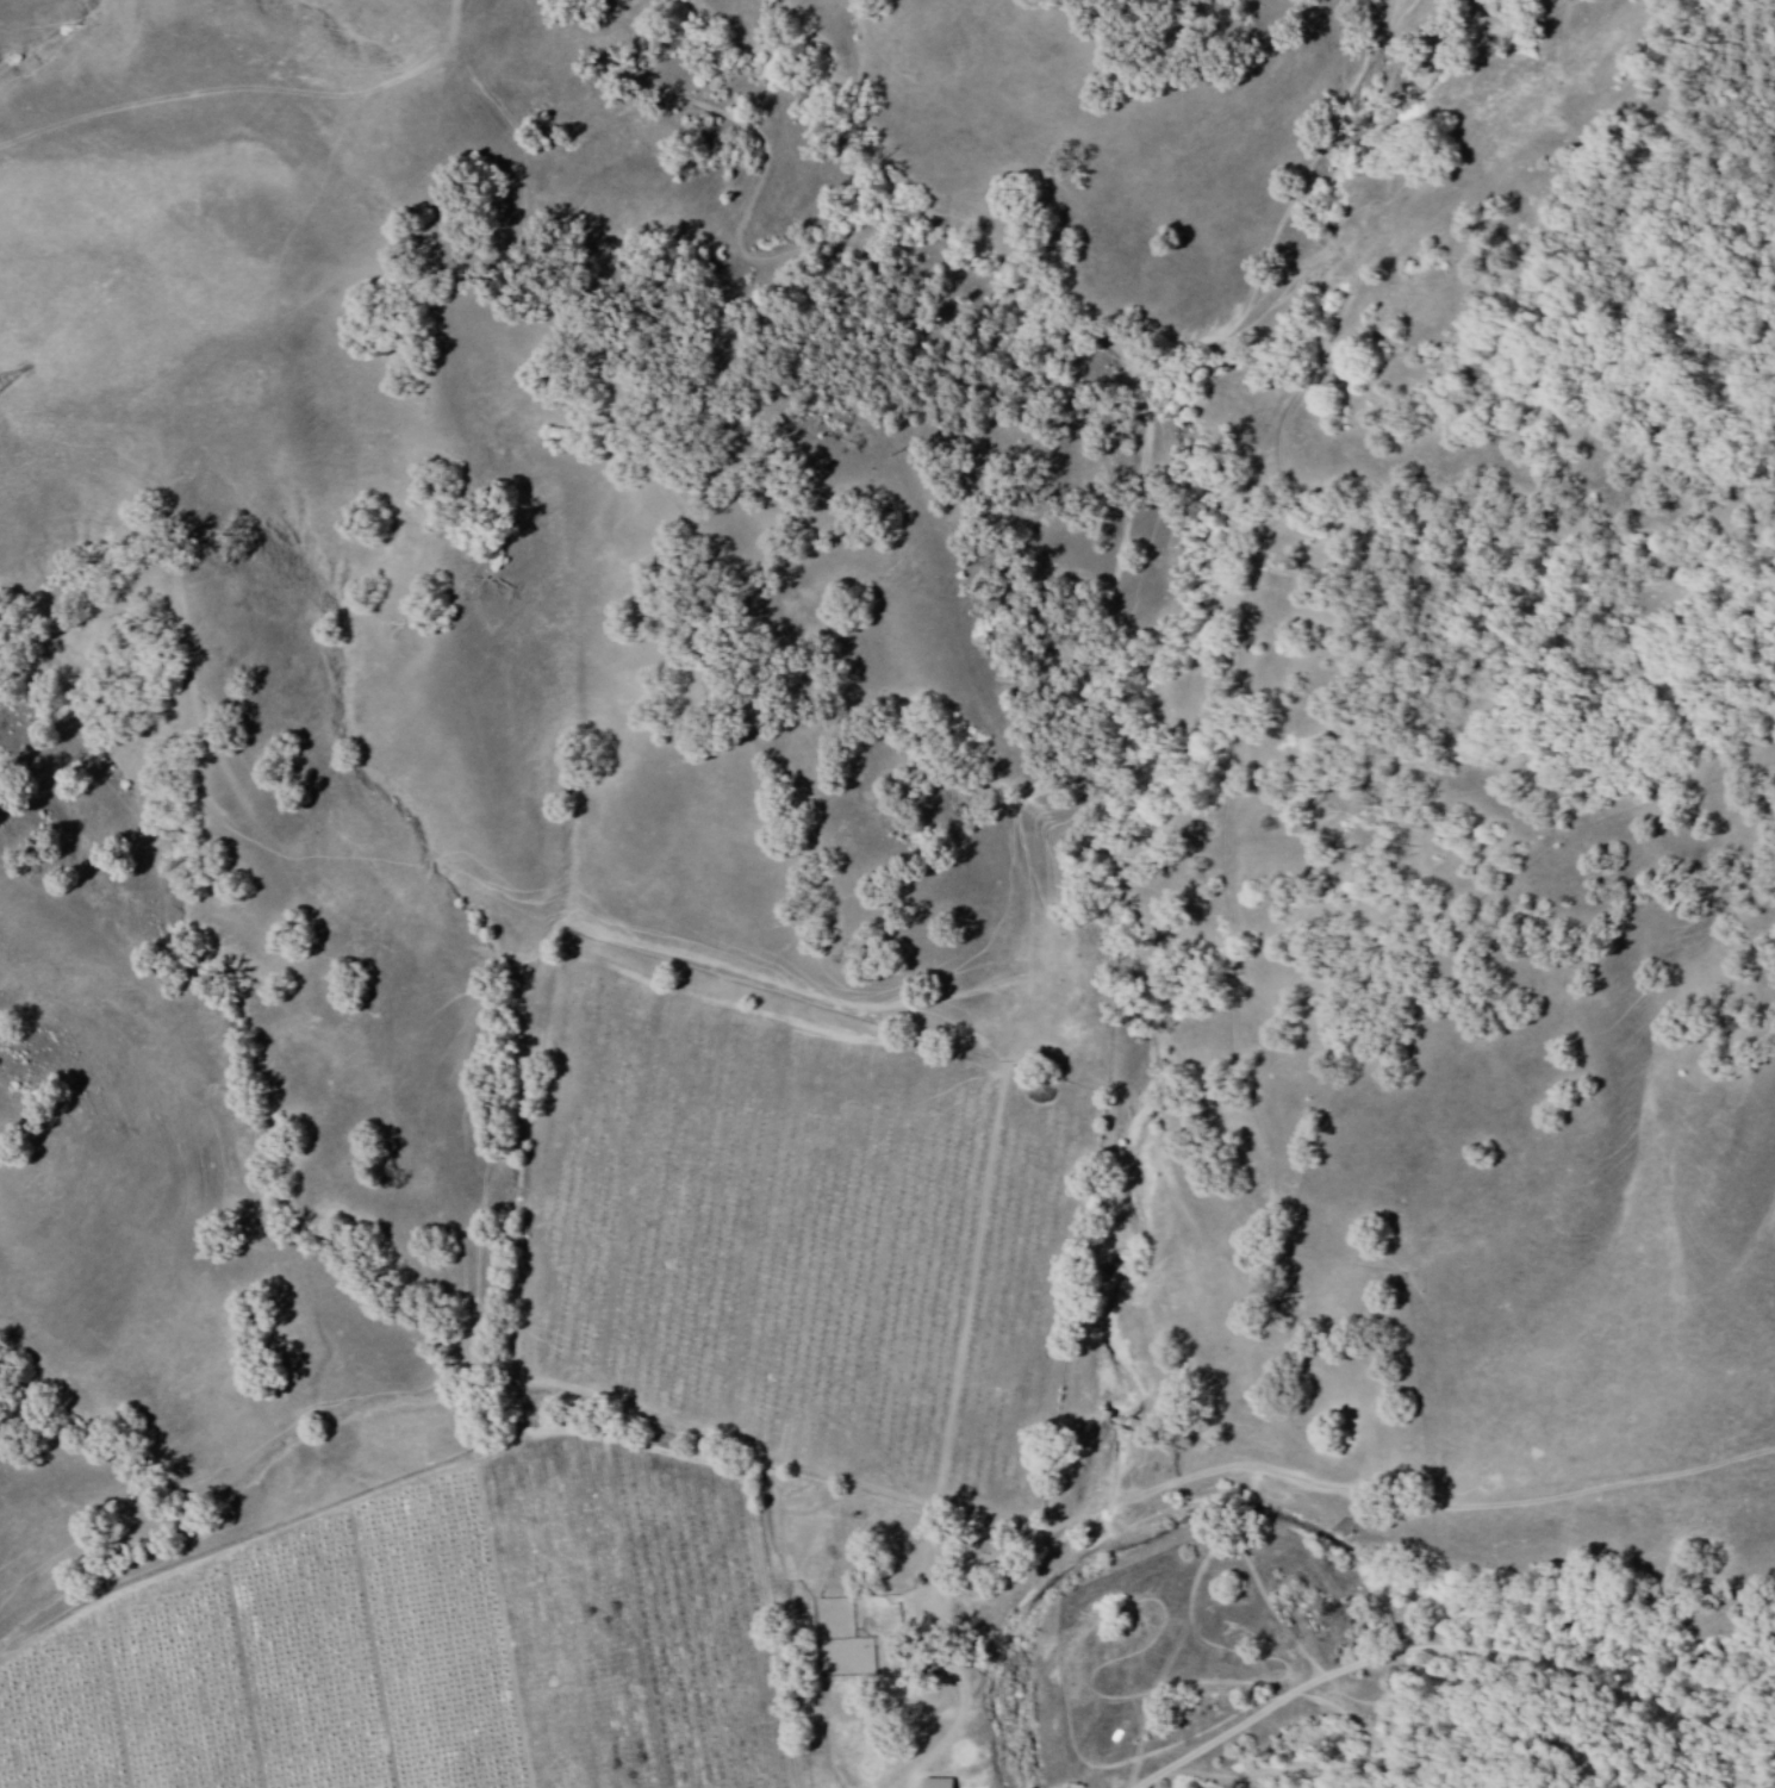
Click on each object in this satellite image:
road: (1301, 1695)
building: (939, 1783)

